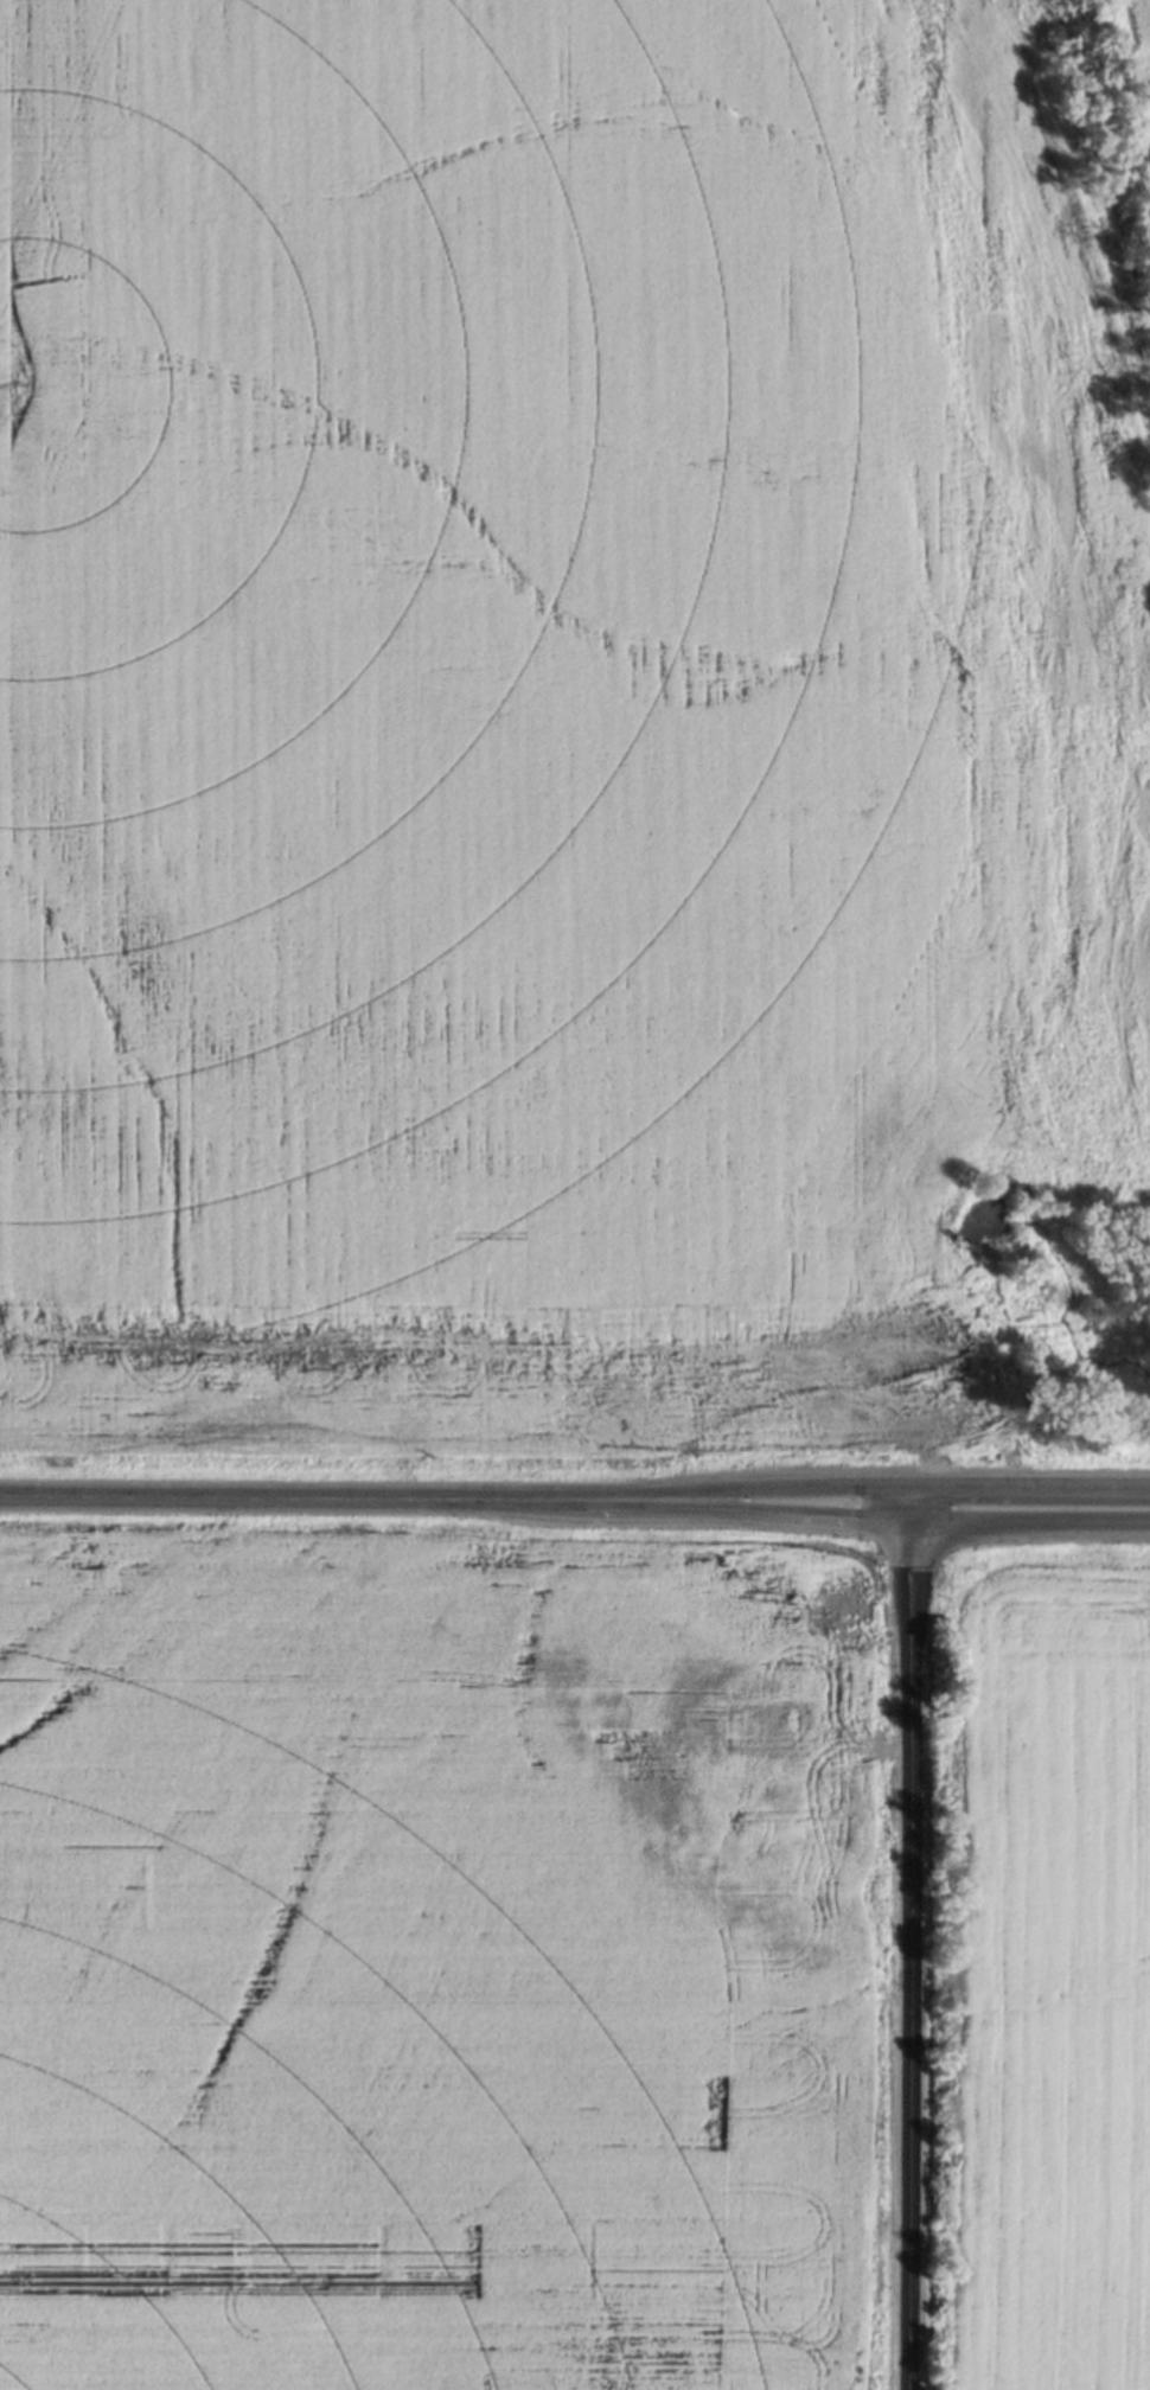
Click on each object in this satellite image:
road: (836, 1483)
road: (262, 1493)
road: (836, 1514)
road: (907, 1936)

